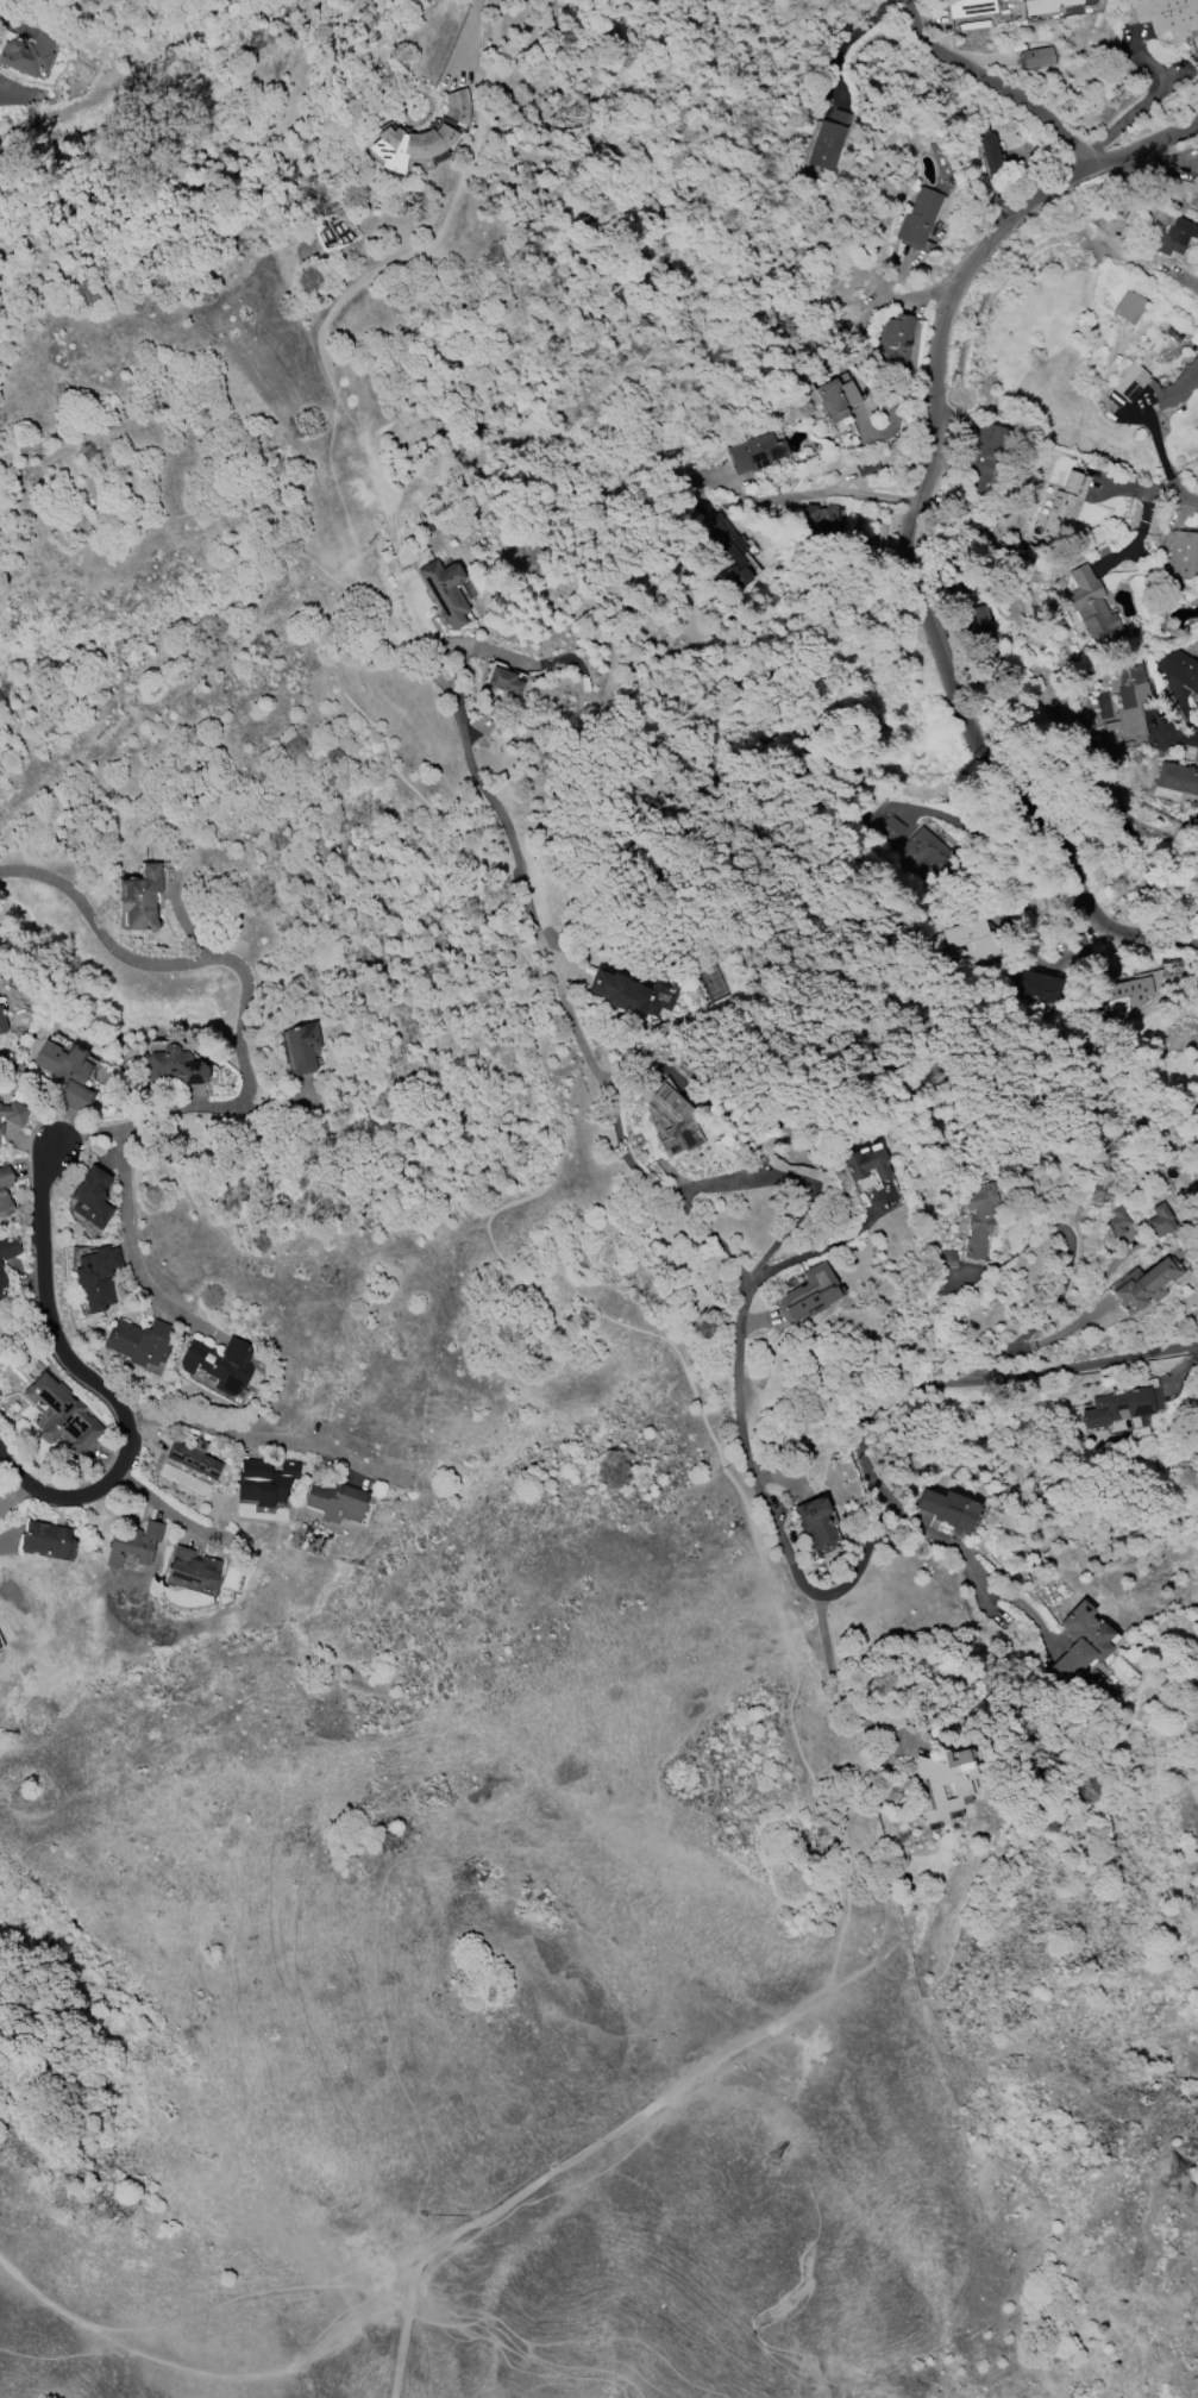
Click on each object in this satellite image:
building: (1042, 5)
building: (970, 7)
building: (1165, 14)
road: (497, 24)
building: (972, 25)
road: (853, 42)
building: (29, 55)
building: (1037, 57)
road: (997, 82)
road: (1146, 101)
building: (420, 136)
building: (828, 139)
building: (989, 146)
building: (1197, 170)
building: (917, 217)
building: (1172, 236)
building: (1129, 307)
building: (896, 336)
building: (1133, 380)
building: (830, 396)
building: (755, 452)
building: (983, 457)
building: (866, 467)
road: (805, 496)
road: (1178, 496)
building: (1065, 505)
building: (811, 512)
building: (828, 519)
road: (910, 524)
building: (732, 551)
building: (1183, 553)
building: (445, 590)
building: (1091, 605)
building: (1180, 668)
building: (503, 681)
road: (174, 699)
building: (1131, 700)
building: (1177, 778)
building: (893, 829)
building: (928, 853)
building: (138, 900)
building: (974, 940)
building: (1036, 987)
building: (631, 994)
building: (1129, 994)
road: (245, 1001)
building: (2, 1022)
building: (302, 1046)
building: (174, 1066)
building: (67, 1072)
road: (548, 1087)
building: (13, 1113)
building: (675, 1122)
building: (1, 1128)
building: (1196, 1162)
building: (866, 1167)
road: (801, 1182)
building: (5, 1191)
building: (92, 1197)
power tower: (1119, 1200)
building: (979, 1217)
building: (1160, 1221)
building: (1117, 1222)
road: (702, 1227)
road: (132, 1236)
road: (833, 1241)
building: (8, 1247)
building: (946, 1259)
road: (1071, 1263)
building: (96, 1277)
building: (1, 1278)
building: (1144, 1283)
building: (0, 1294)
building: (807, 1294)
building: (139, 1341)
building: (219, 1364)
road: (1093, 1365)
road: (93, 1385)
building: (1122, 1404)
building: (62, 1414)
road: (264, 1429)
building: (194, 1458)
building: (264, 1480)
road: (14, 1495)
building: (335, 1502)
road: (162, 1507)
building: (948, 1509)
building: (815, 1522)
building: (45, 1539)
building: (133, 1545)
road: (972, 1569)
building: (190, 1570)
building: (1081, 1641)
road: (836, 1685)
building: (946, 1784)
power tower: (922, 1791)
road: (578, 2145)
power tower: (790, 2161)
road: (510, 2348)
road: (201, 2369)

